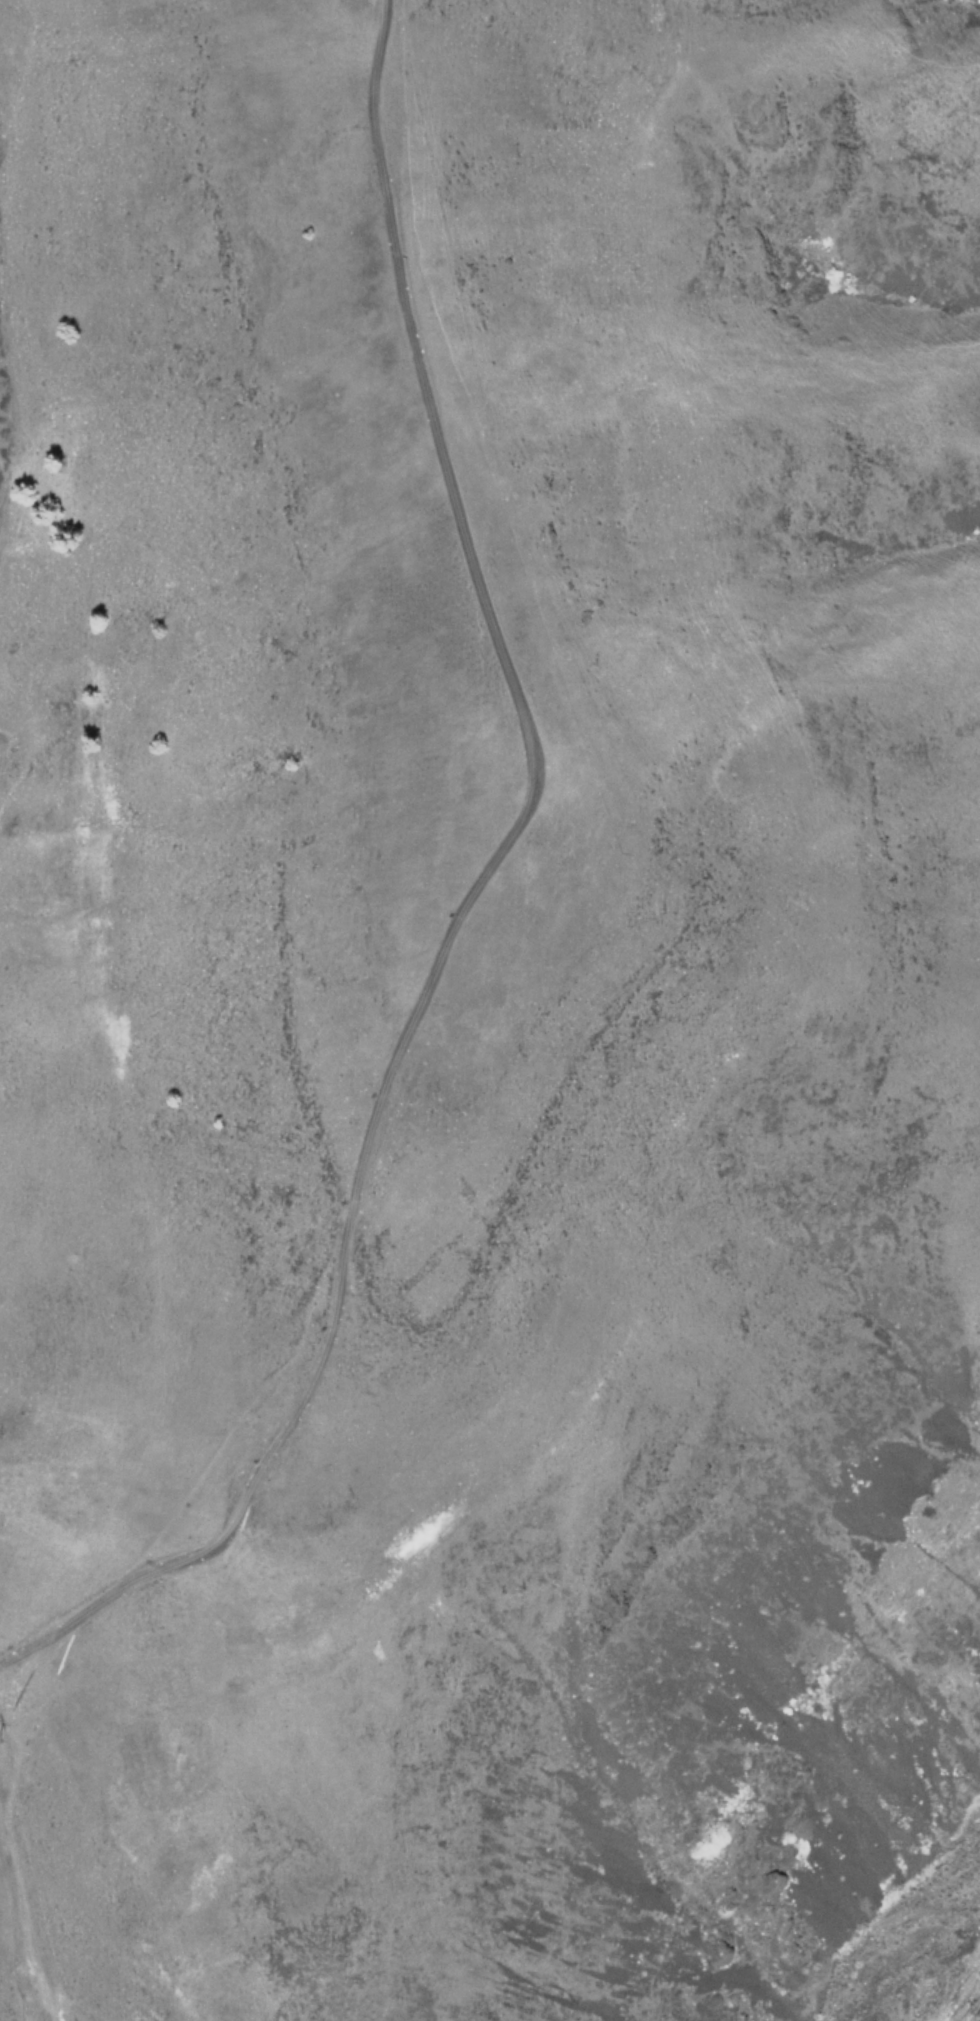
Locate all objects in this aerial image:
power tower: (2, 1724)

